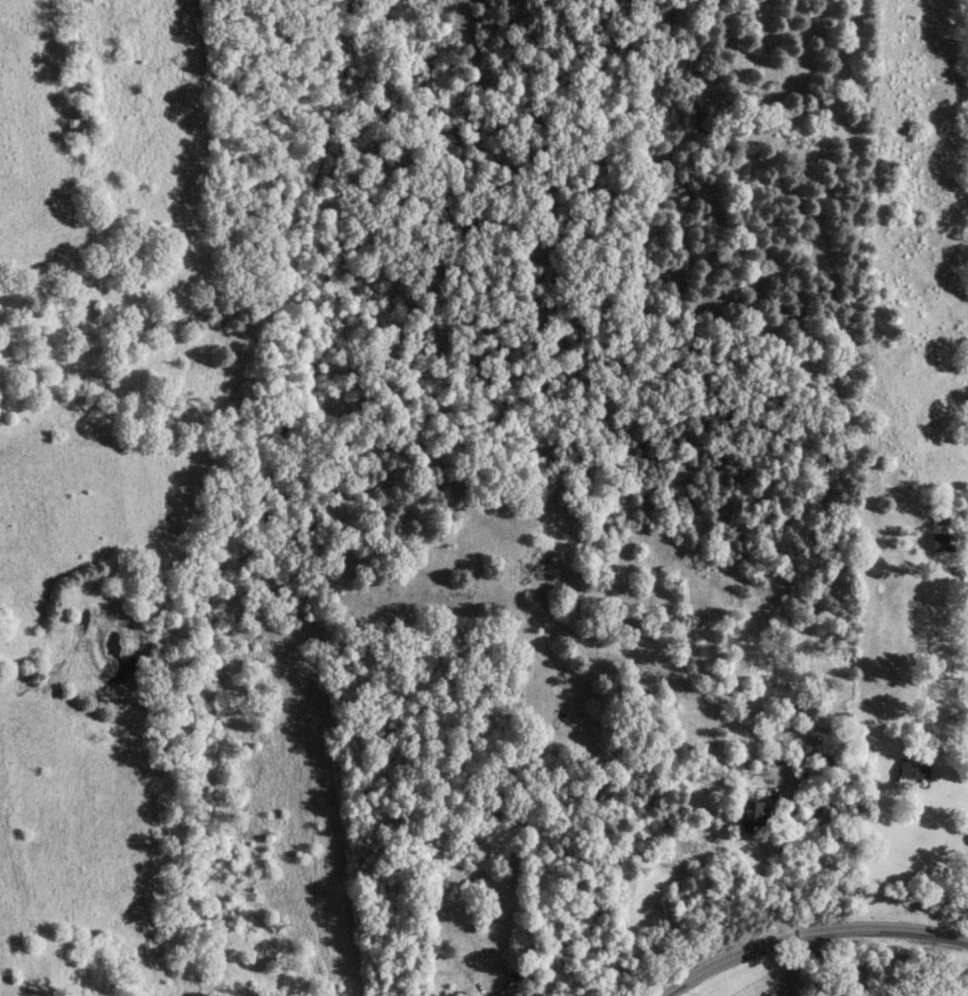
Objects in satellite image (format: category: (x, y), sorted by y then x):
building: (940, 541)
building: (965, 706)
building: (911, 773)
building: (745, 776)
building: (751, 811)
building: (967, 863)
road: (778, 865)
road: (808, 933)

